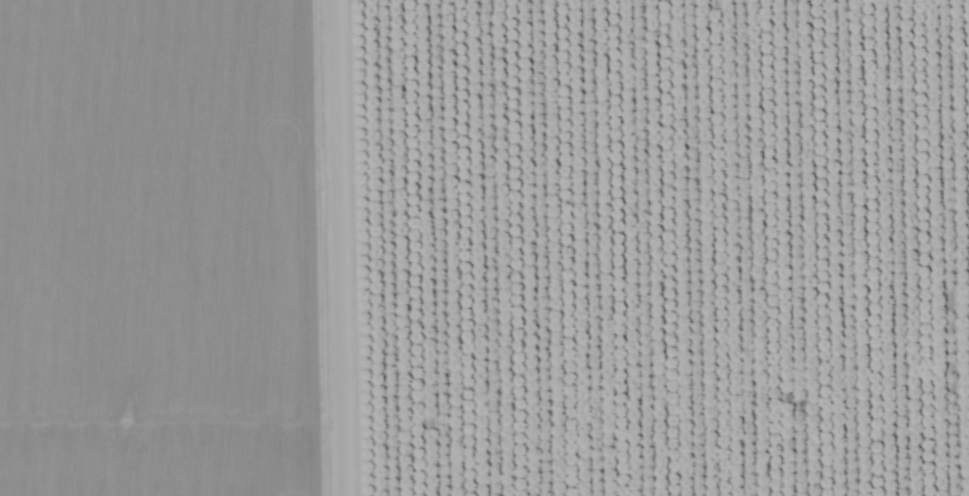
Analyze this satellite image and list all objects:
crop: (177, 248)
road: (345, 248)

